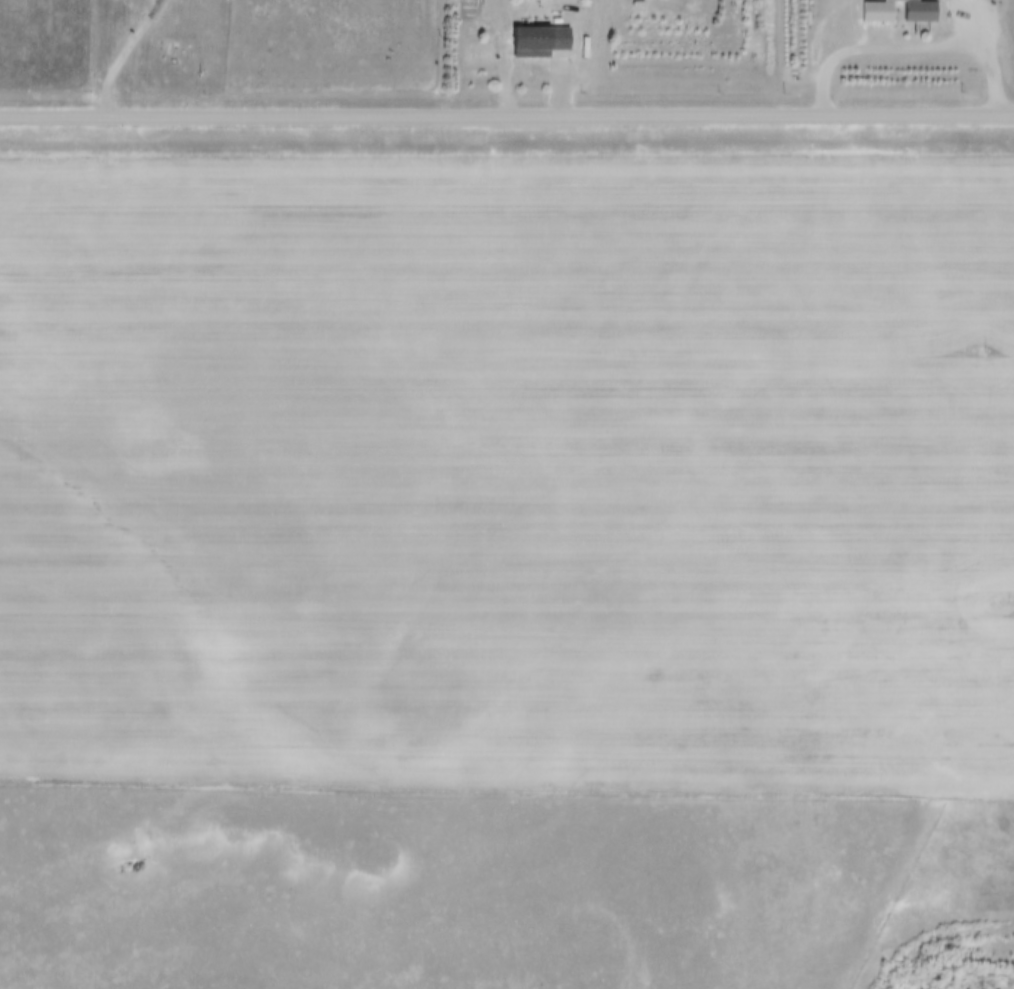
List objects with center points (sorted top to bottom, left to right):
building: (915, 7)
building: (530, 32)
road: (1006, 53)
road: (534, 57)
road: (125, 58)
road: (506, 121)

